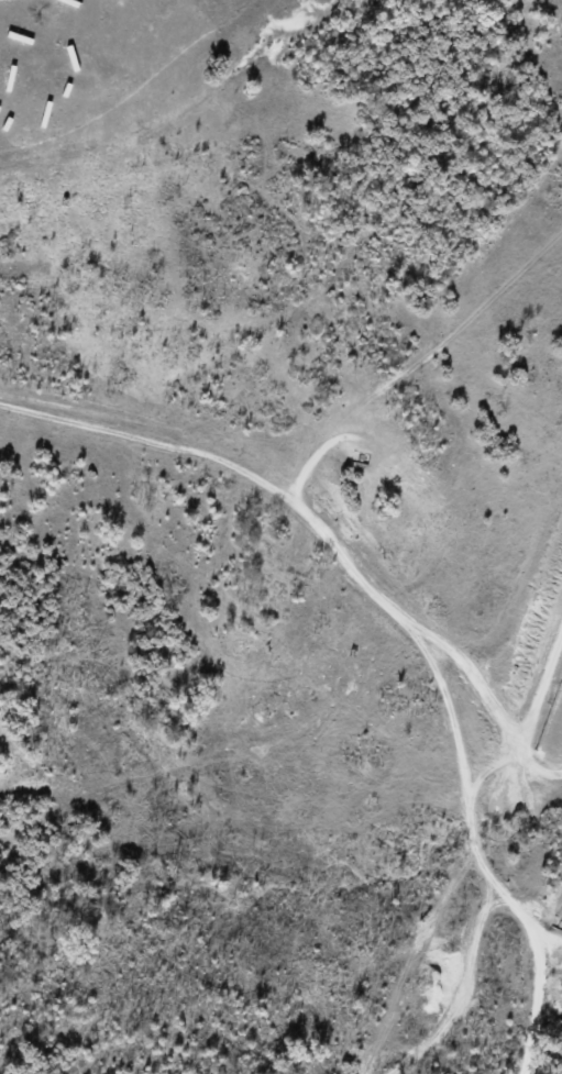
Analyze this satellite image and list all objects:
railway: (546, 699)

